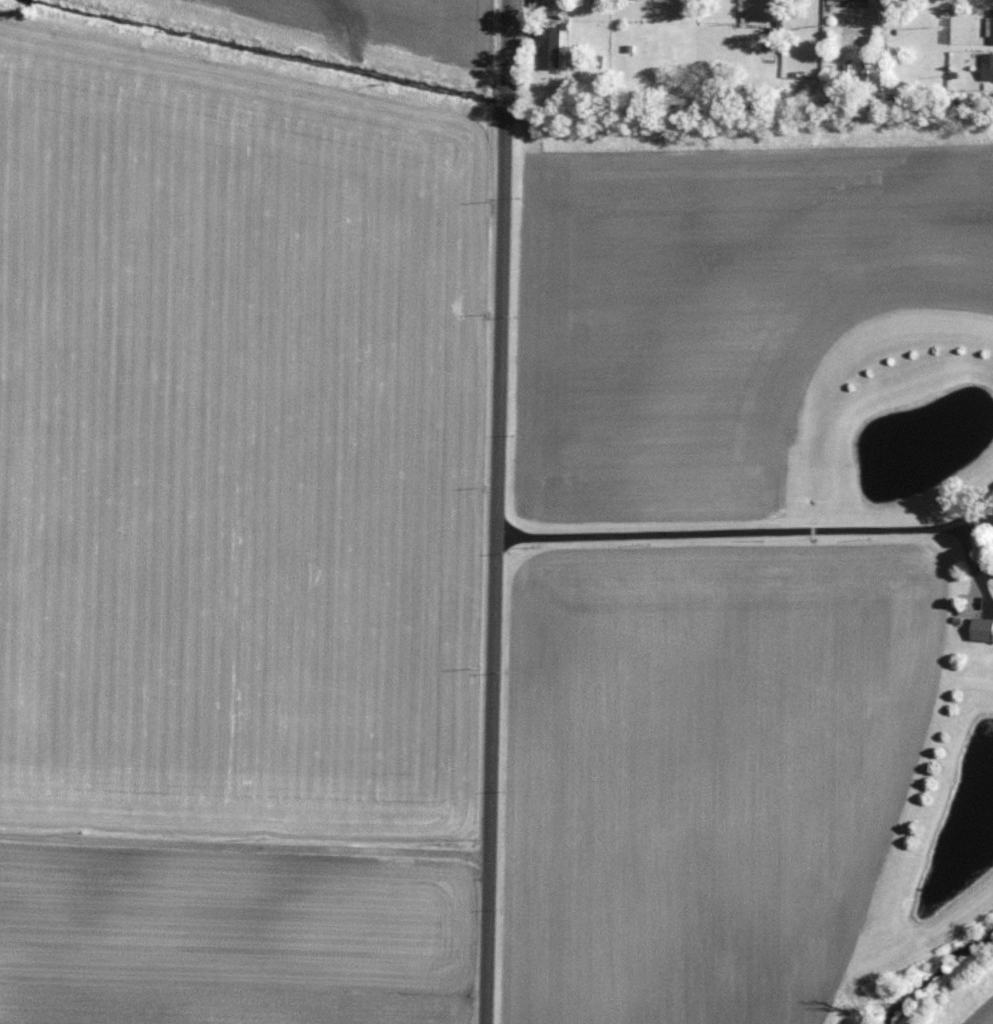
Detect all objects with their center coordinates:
building: (990, 23)
building: (550, 44)
building: (988, 65)
building: (949, 416)
road: (497, 511)
road: (755, 531)
road: (974, 563)
building: (979, 627)
road: (246, 841)

